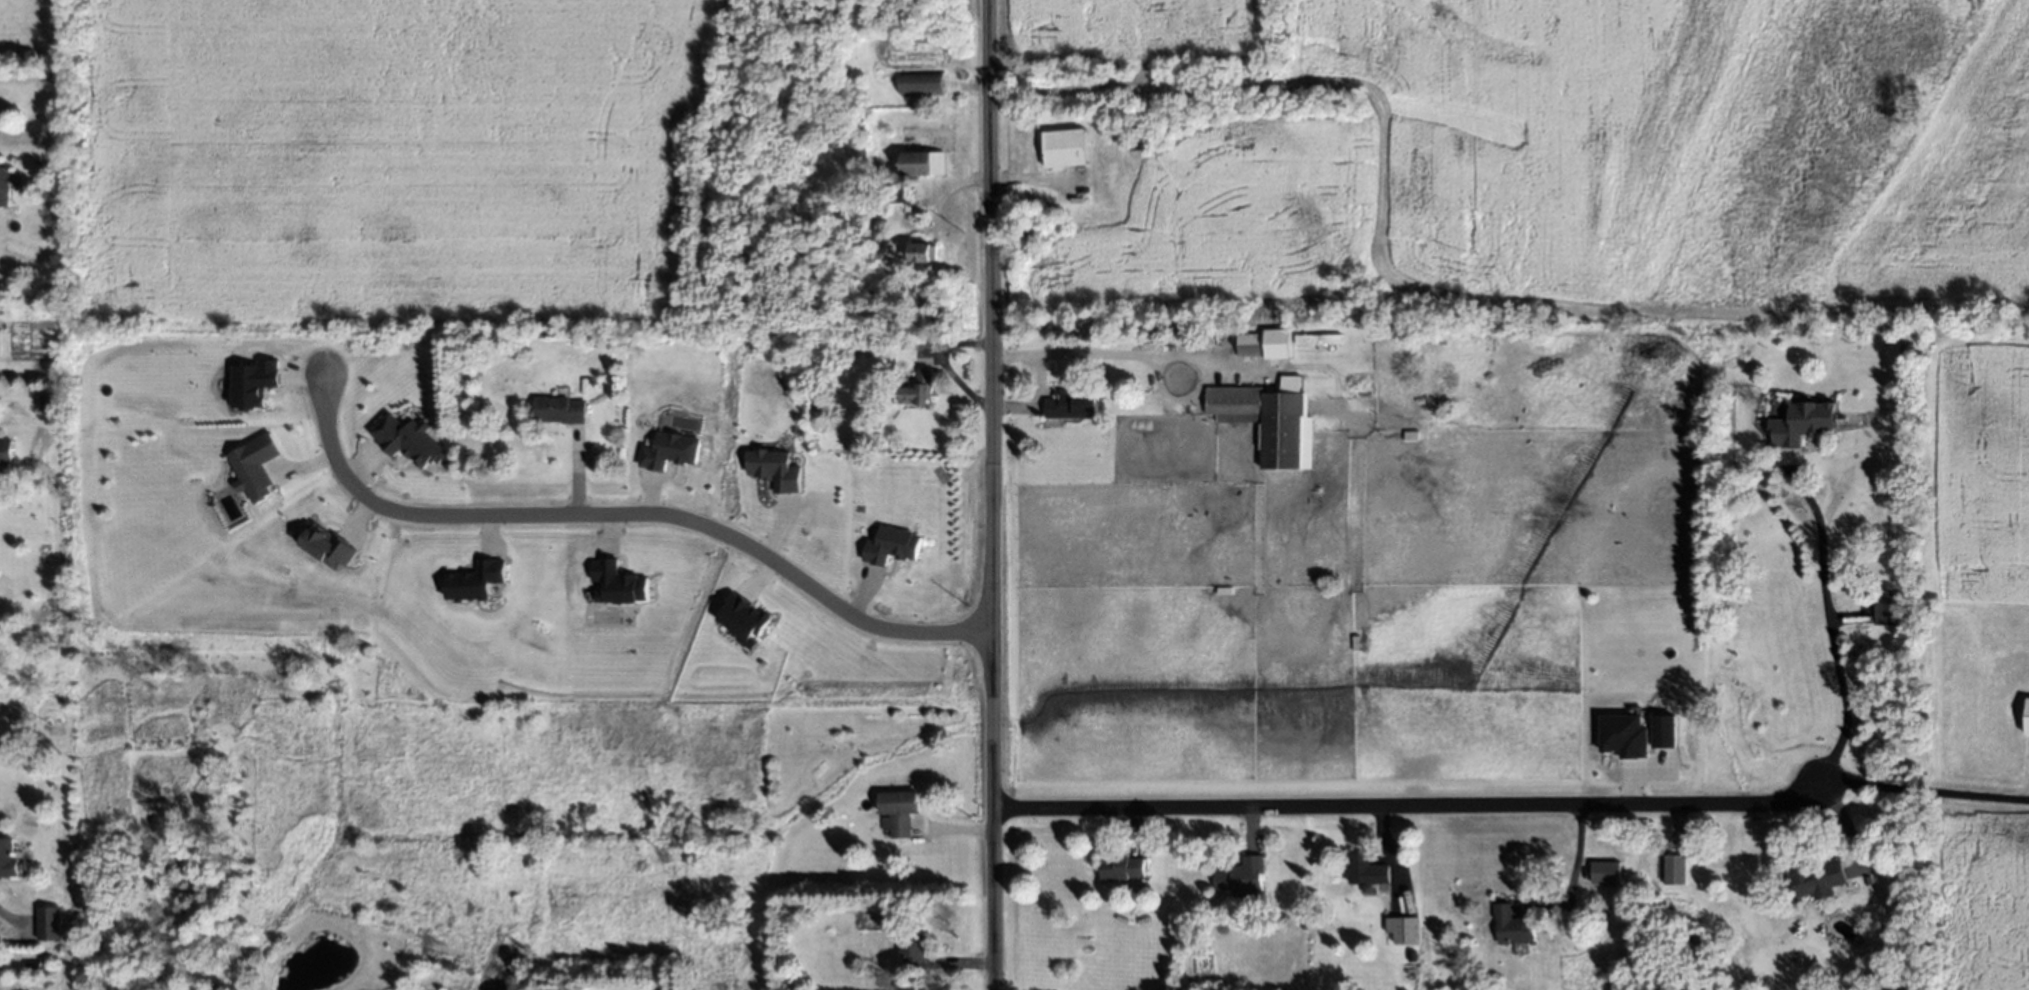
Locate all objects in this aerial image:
building: (920, 81)
building: (1133, 143)
building: (1065, 148)
building: (923, 163)
building: (3, 185)
building: (891, 194)
building: (922, 252)
building: (1263, 344)
road: (1131, 357)
building: (254, 384)
building: (918, 388)
road: (1031, 400)
building: (47, 402)
building: (1072, 404)
building: (558, 409)
building: (1266, 418)
building: (1803, 423)
building: (1871, 444)
building: (417, 448)
building: (668, 452)
building: (6, 454)
building: (255, 468)
building: (774, 470)
road: (994, 494)
road: (625, 517)
building: (329, 546)
building: (892, 546)
building: (475, 582)
building: (617, 584)
building: (1887, 610)
building: (745, 620)
road: (1830, 628)
building: (2026, 713)
building: (1664, 731)
building: (1624, 736)
road: (1924, 791)
road: (1414, 808)
building: (898, 812)
building: (7, 858)
building: (1123, 867)
building: (1366, 870)
road: (1573, 870)
building: (1675, 870)
building: (1607, 871)
building: (1243, 875)
building: (1814, 877)
building: (1867, 880)
building: (48, 922)
building: (1512, 925)
building: (1402, 927)
building: (1580, 938)
building: (914, 947)
building: (1412, 955)
building: (1213, 988)

